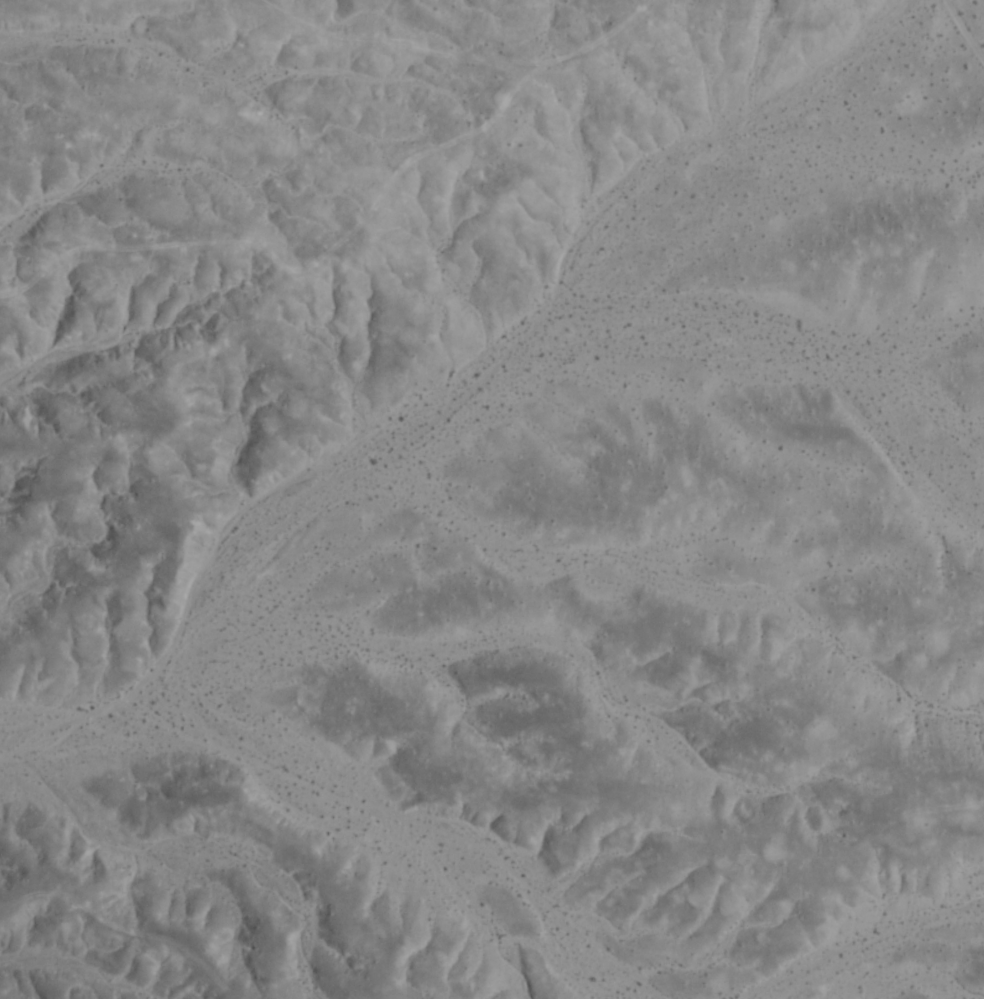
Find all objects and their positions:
road: (966, 29)

